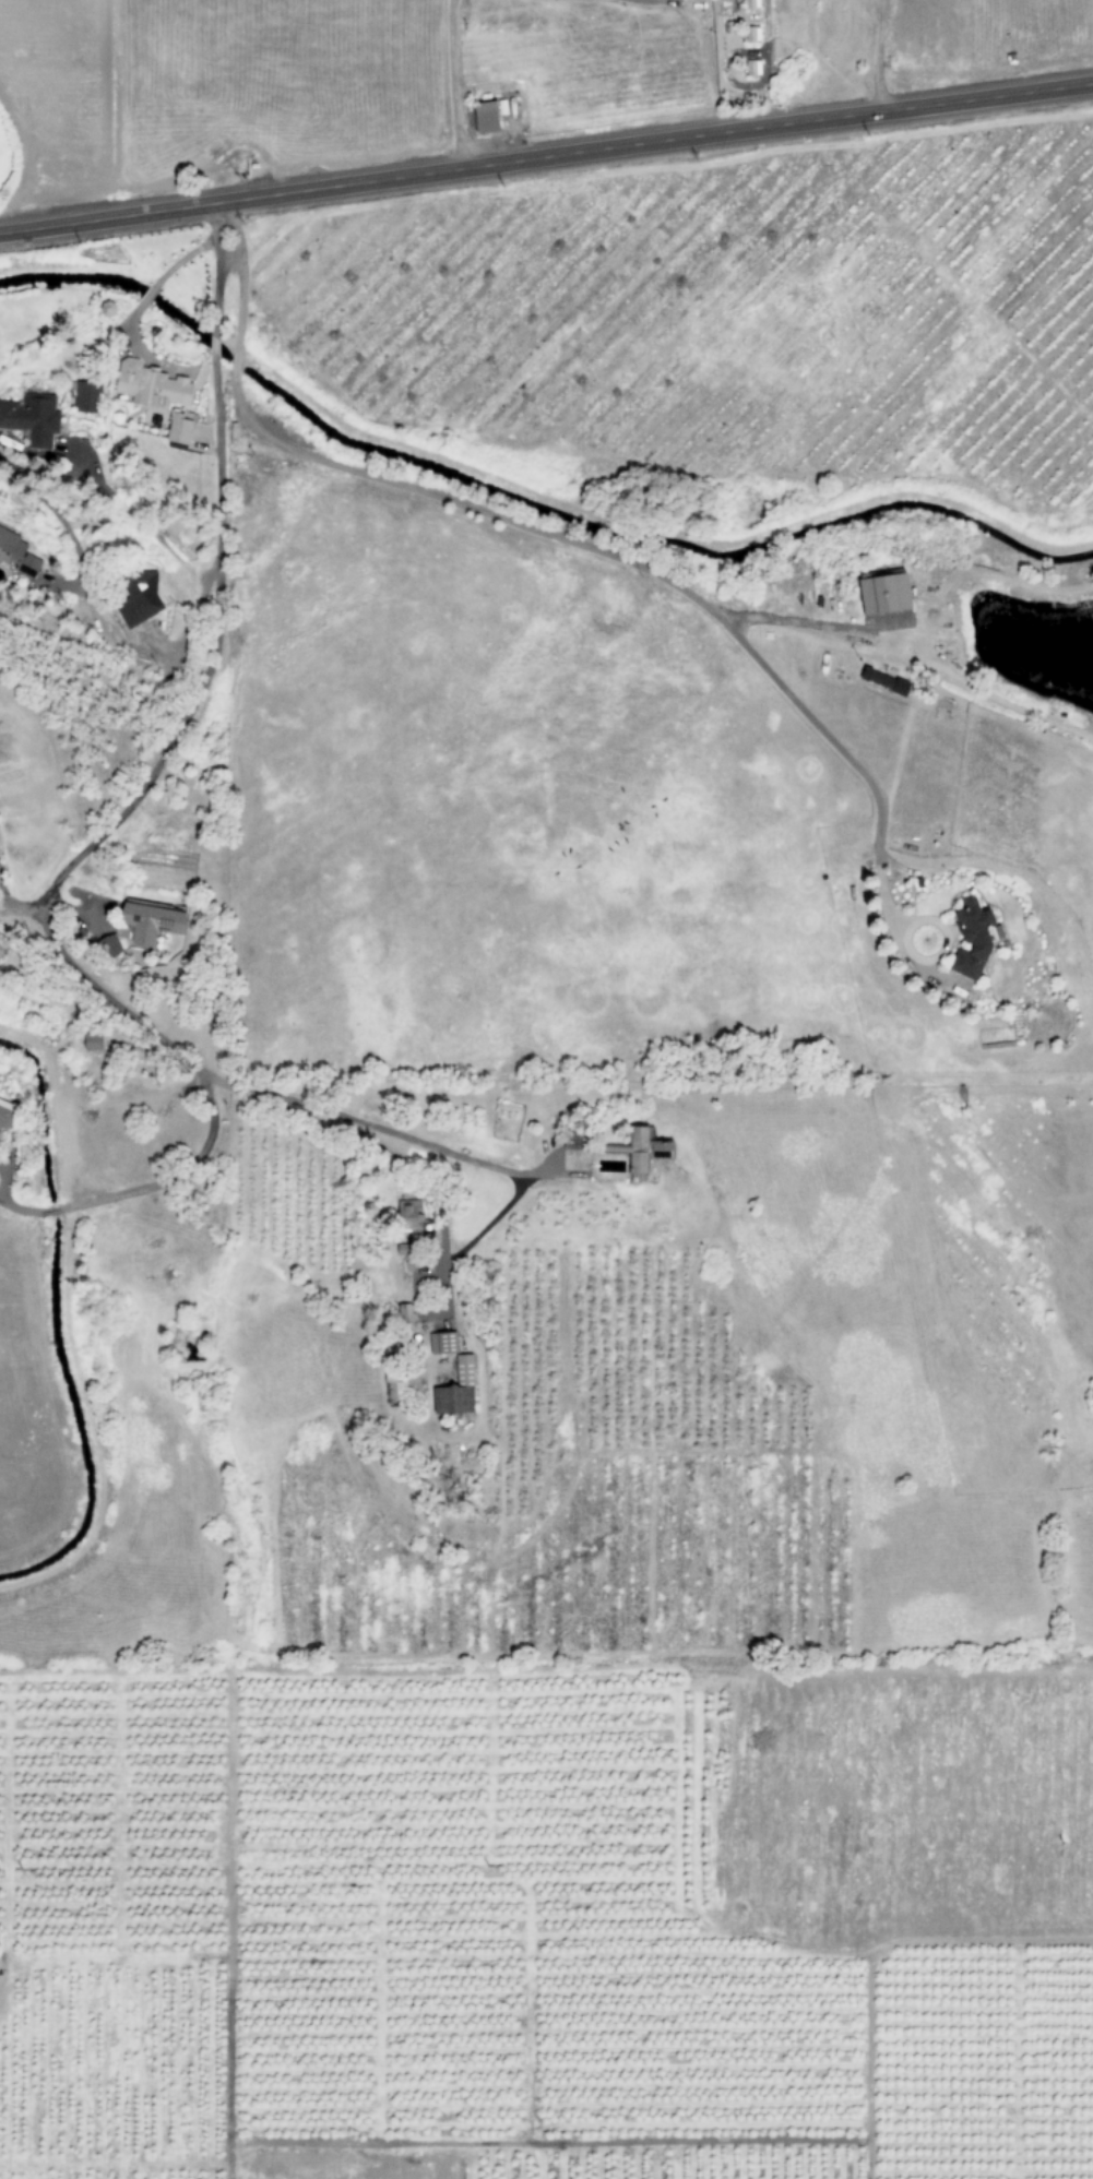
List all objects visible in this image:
building: (748, 4)
building: (750, 35)
crop: (1013, 36)
road: (883, 56)
building: (750, 69)
crop: (269, 86)
building: (485, 118)
road: (546, 159)
road: (213, 270)
road: (213, 344)
building: (151, 386)
building: (85, 397)
building: (31, 418)
building: (179, 428)
building: (16, 555)
building: (882, 594)
building: (139, 599)
building: (882, 681)
road: (180, 713)
road: (16, 910)
building: (150, 922)
building: (971, 940)
building: (108, 946)
building: (91, 1043)
road: (272, 1100)
building: (5, 1115)
building: (644, 1151)
road: (70, 1326)
crop: (931, 1332)
building: (442, 1344)
building: (393, 1380)
building: (455, 1391)

